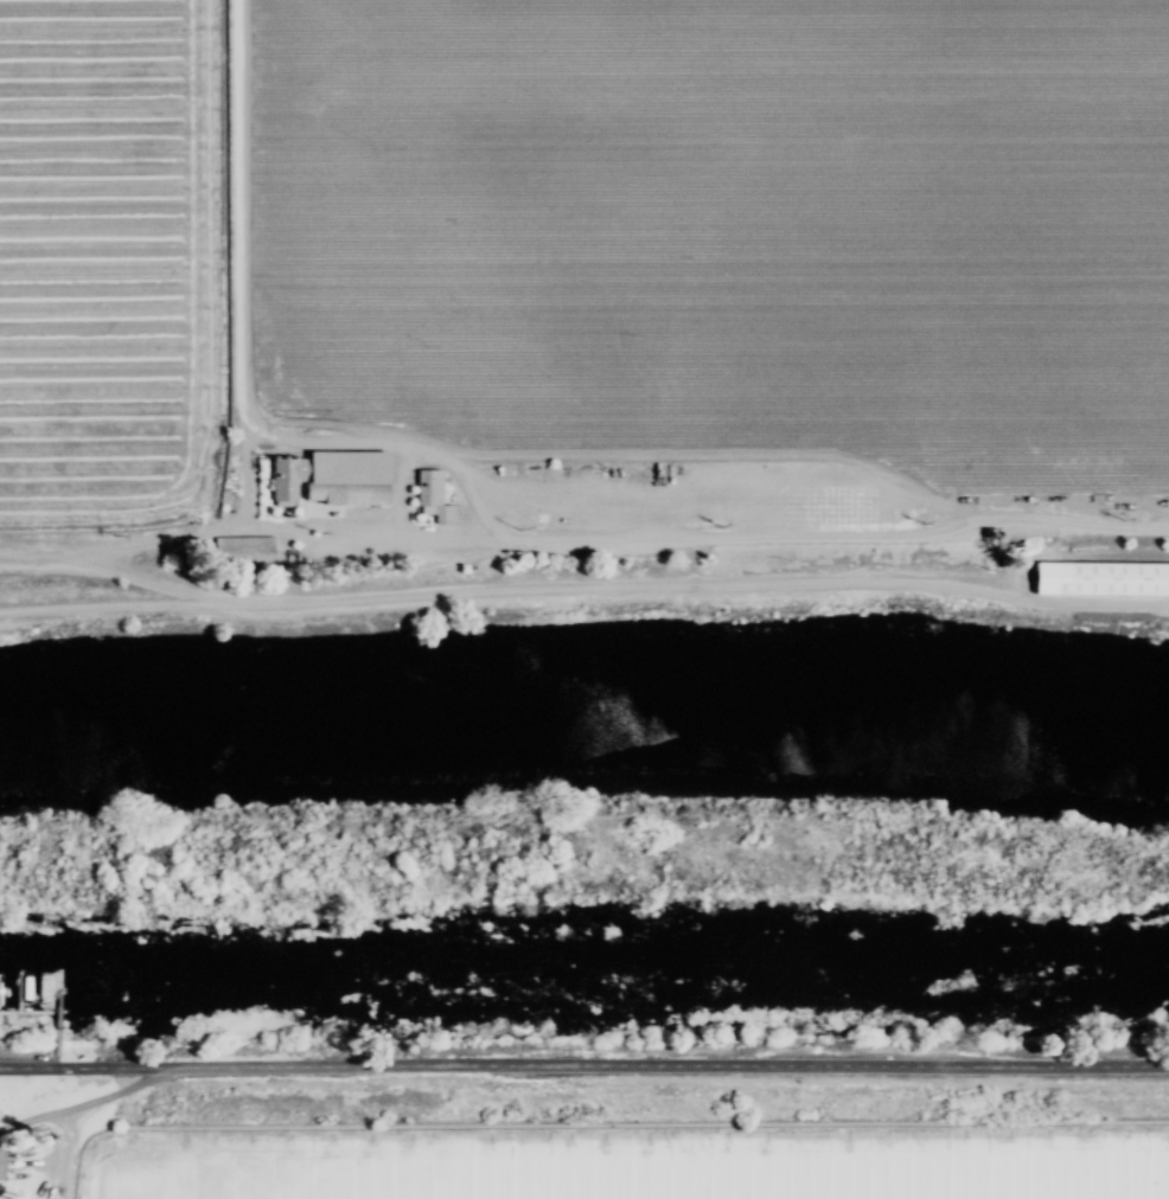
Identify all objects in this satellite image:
building: (327, 479)
building: (429, 498)
road: (484, 509)
road: (207, 525)
road: (368, 532)
road: (40, 547)
building: (1098, 582)
road: (148, 584)
road: (584, 590)
river: (584, 724)
river: (583, 975)
road: (584, 1071)
road: (79, 1103)
crop: (628, 1137)
building: (1, 1166)

